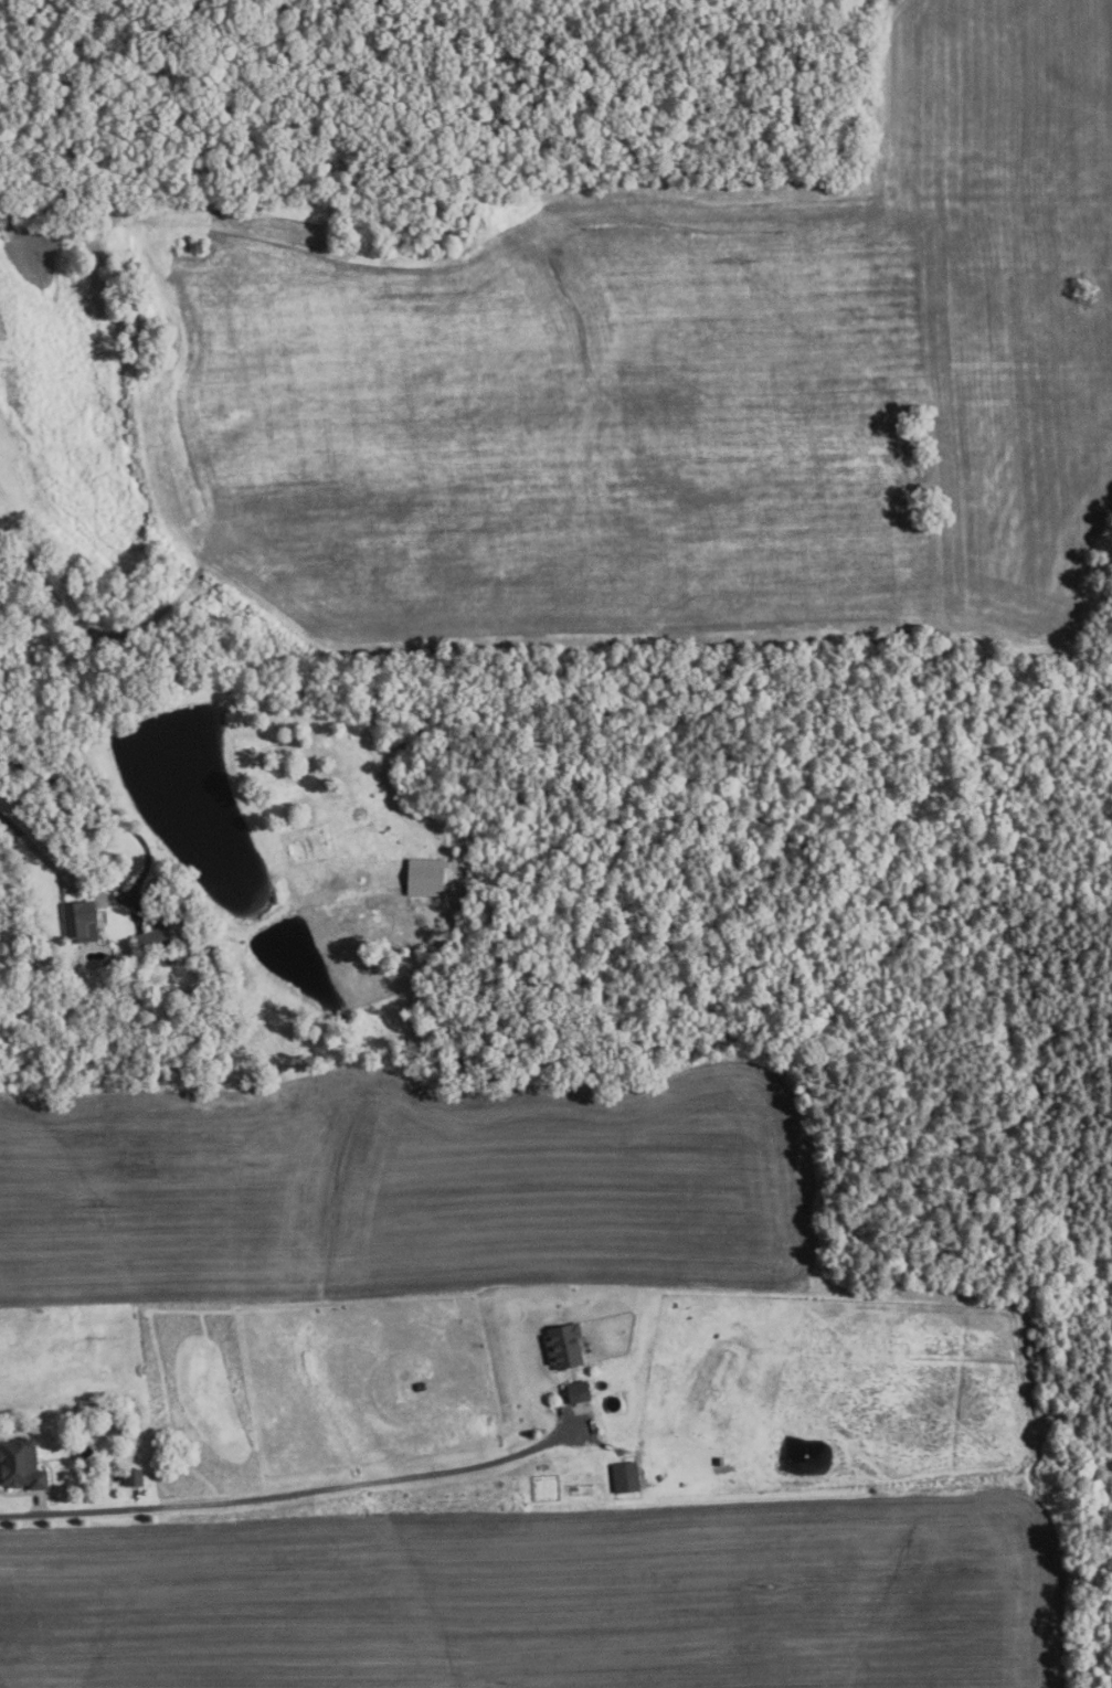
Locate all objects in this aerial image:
building: (190, 246)
road: (150, 860)
building: (425, 878)
building: (77, 917)
building: (152, 941)
building: (178, 954)
building: (191, 997)
building: (564, 1346)
building: (578, 1391)
building: (21, 1464)
building: (735, 1464)
building: (133, 1476)
building: (625, 1476)
building: (576, 1489)
road: (300, 1490)
road: (40, 1504)
road: (19, 1515)

